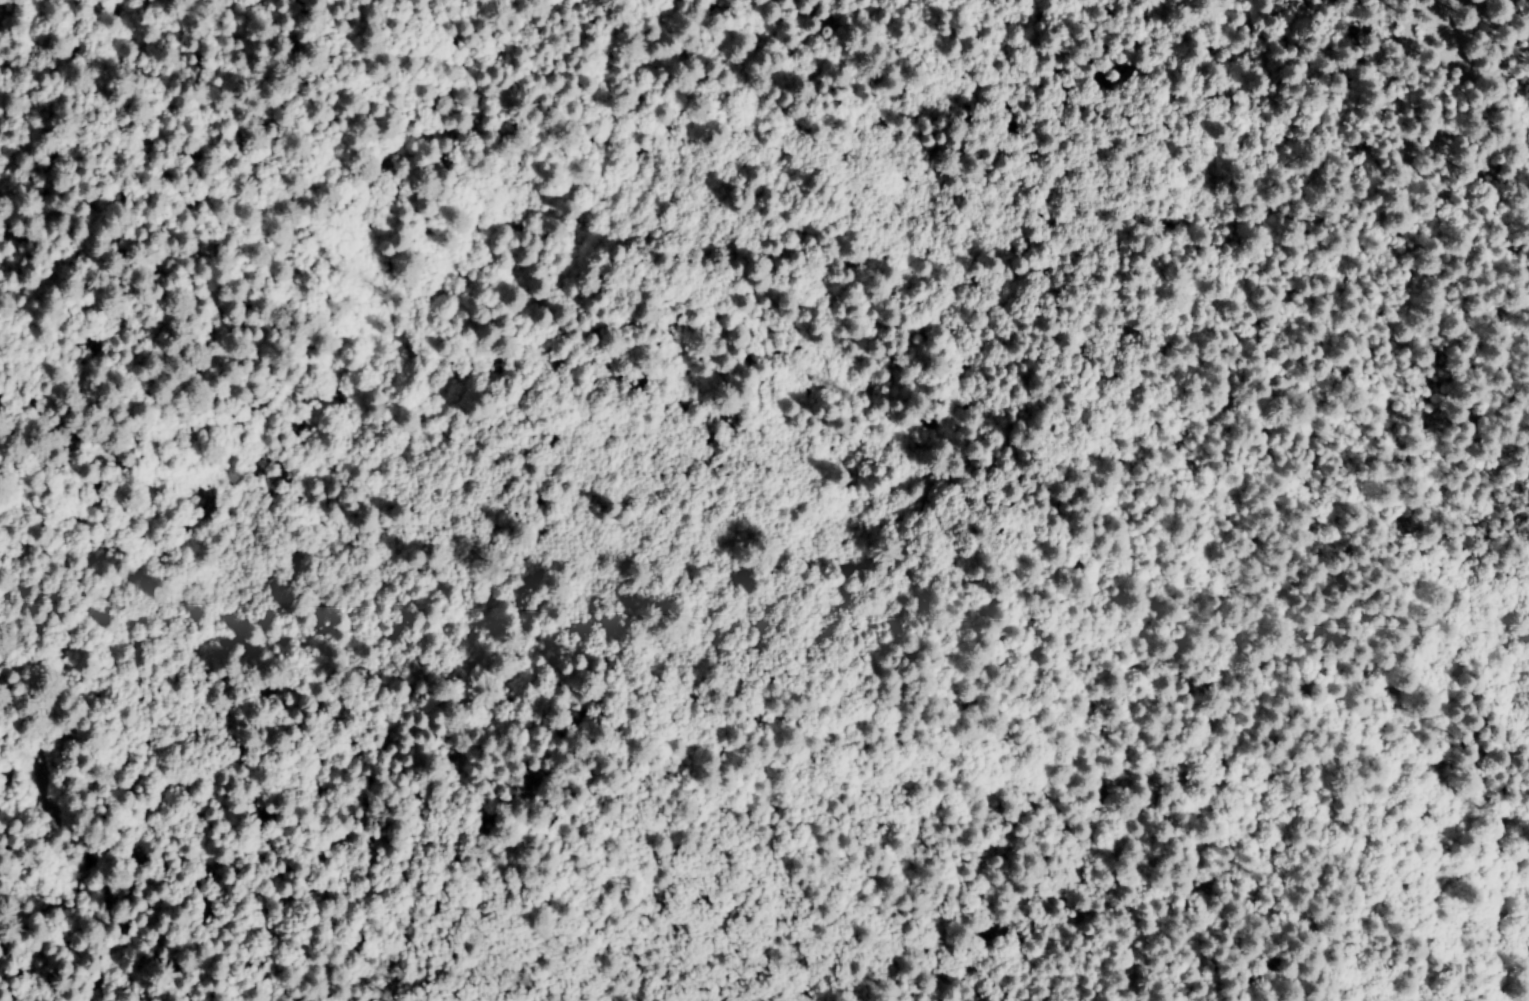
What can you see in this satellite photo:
road: (1511, 923)

